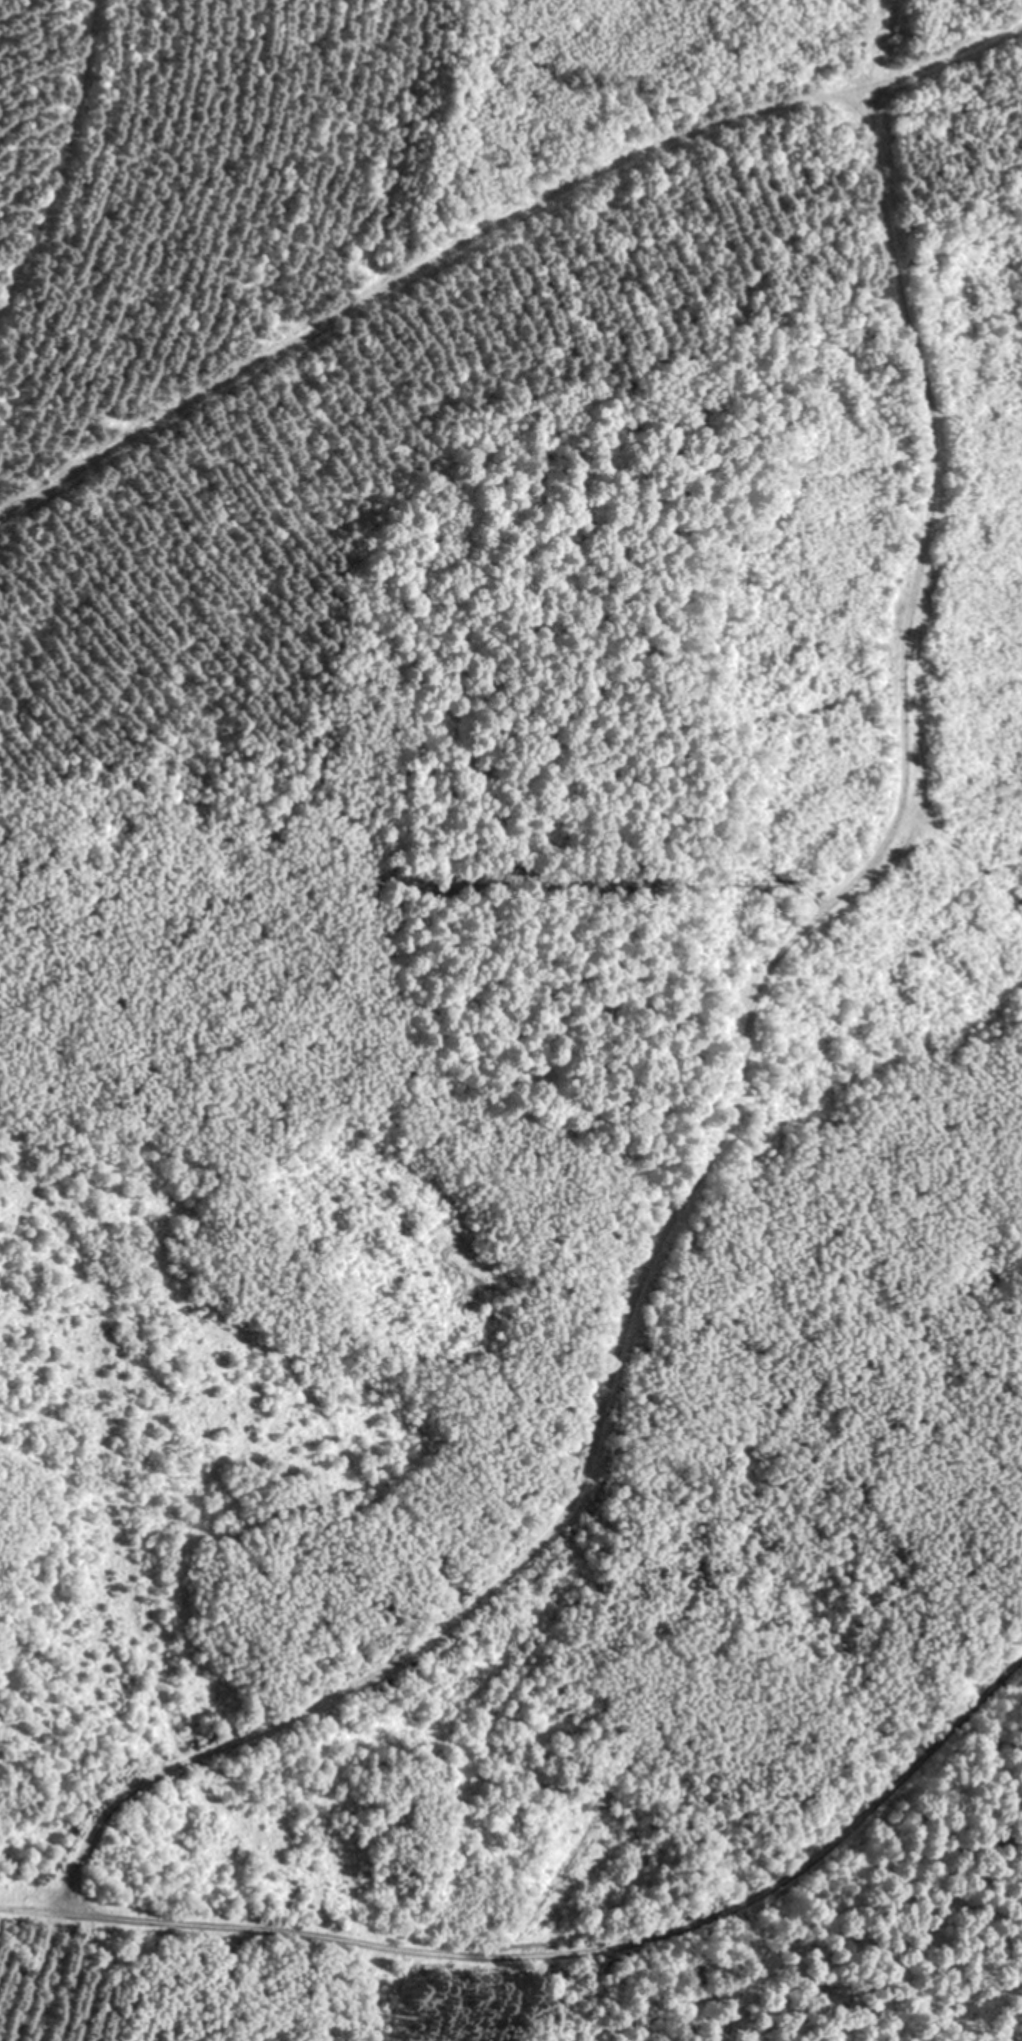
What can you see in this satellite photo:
road: (874, 41)
road: (945, 52)
road: (57, 157)
road: (418, 265)
road: (740, 1118)
road: (560, 1952)

